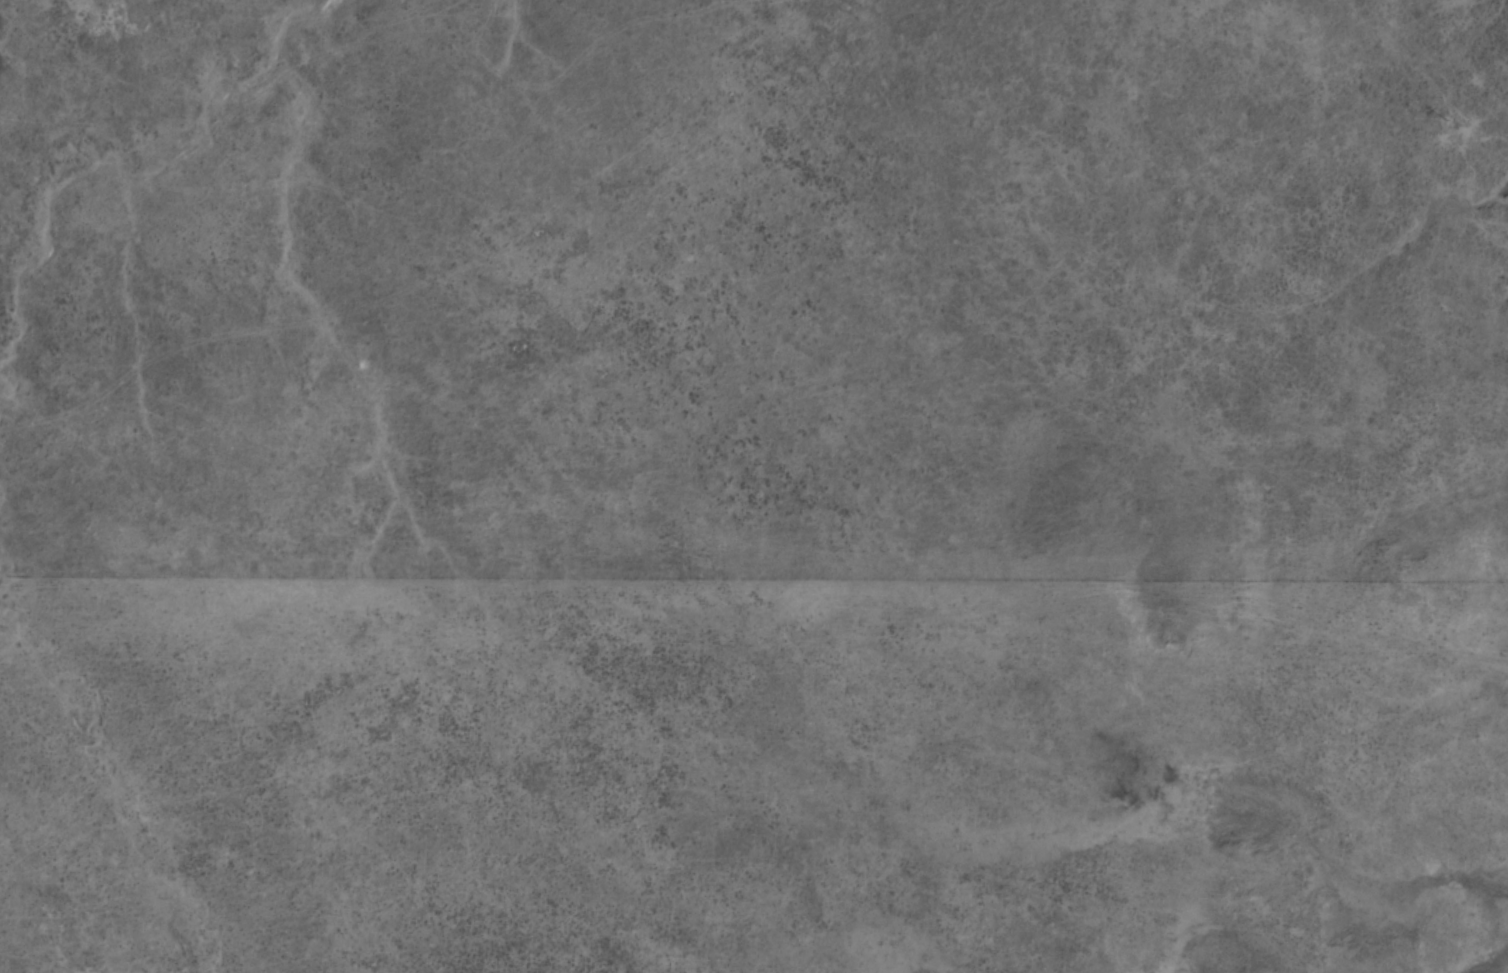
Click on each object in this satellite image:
power tower: (1454, 122)

